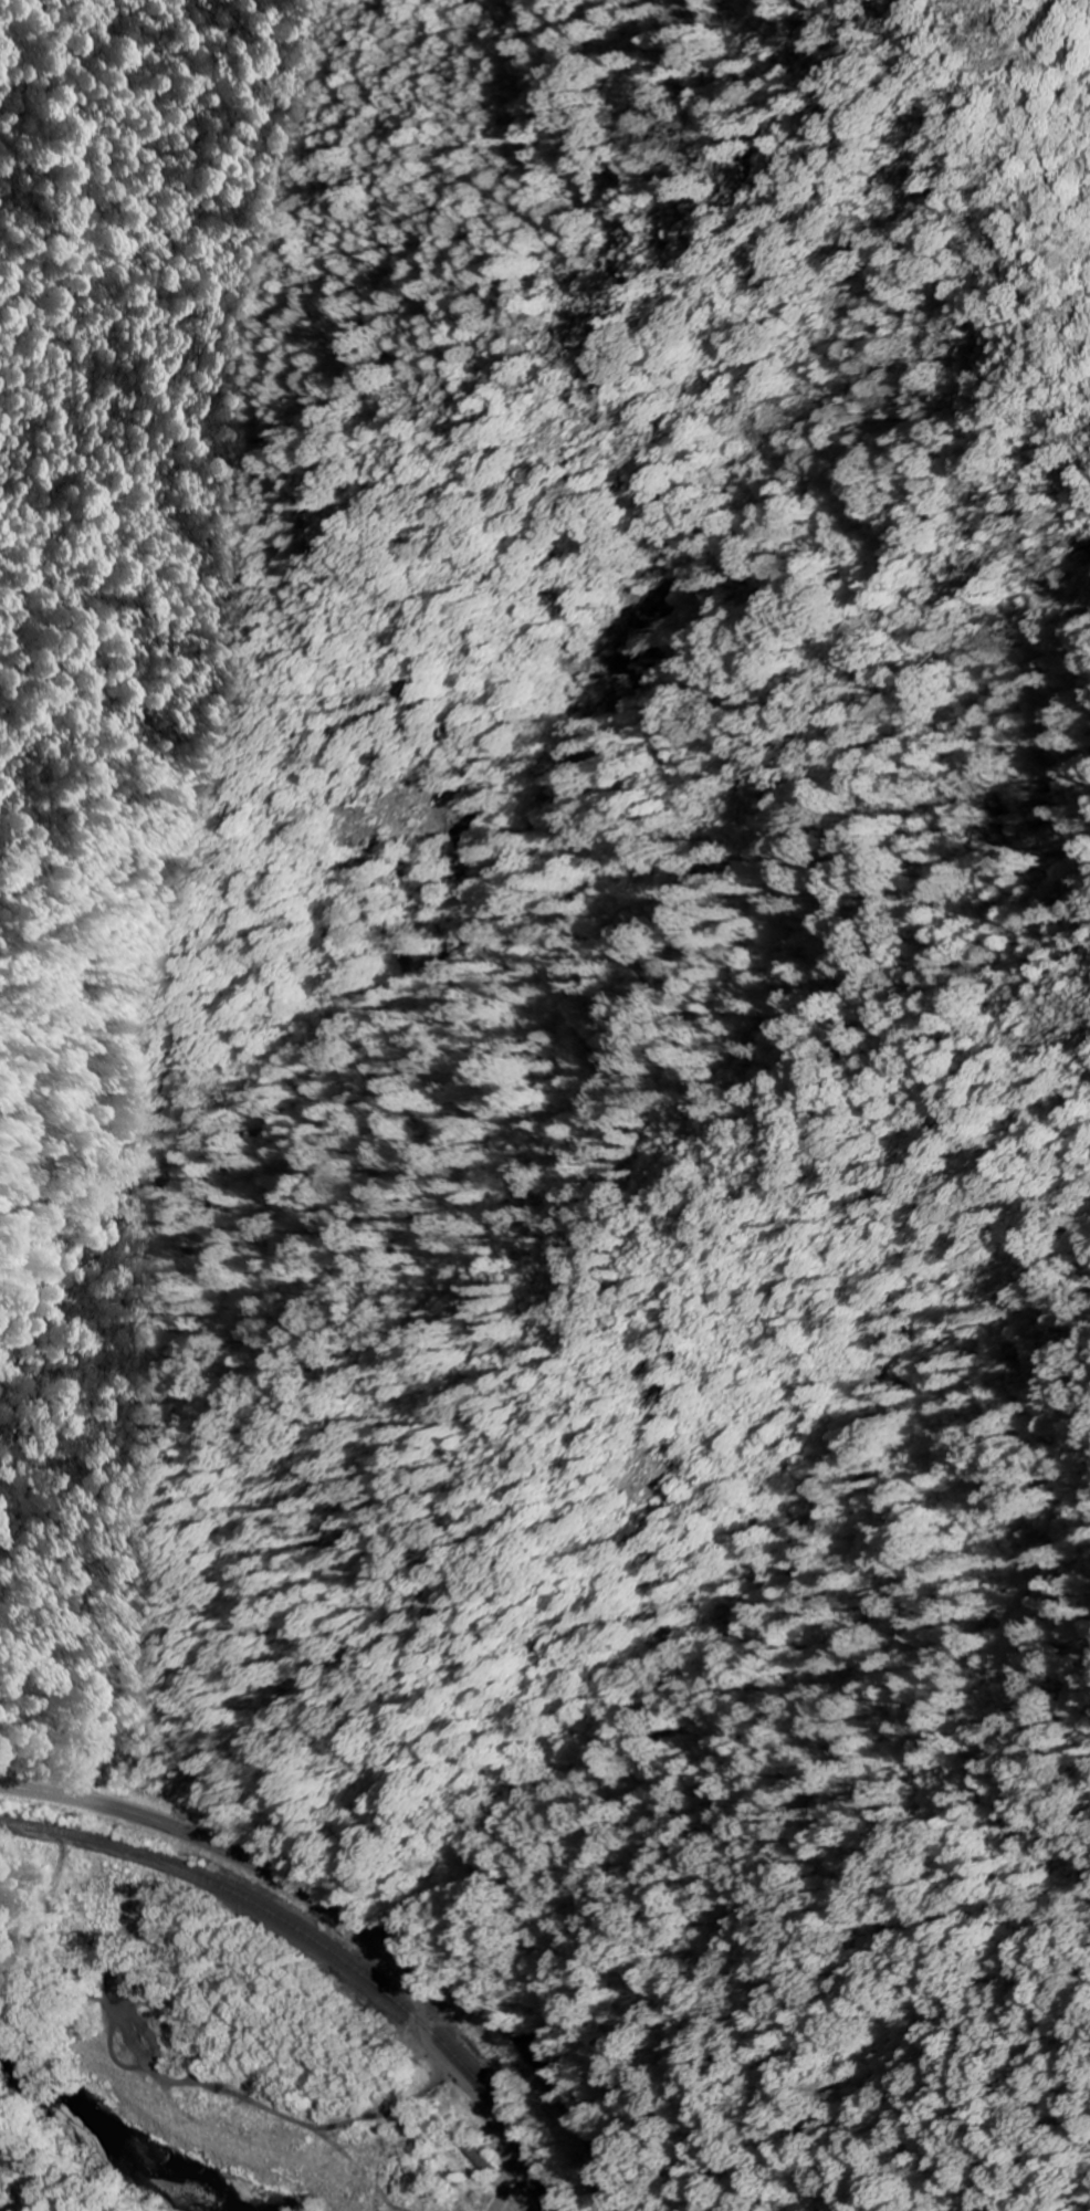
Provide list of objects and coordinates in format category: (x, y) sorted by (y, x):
road: (363, 1925)
railway: (324, 1943)
road: (442, 2071)
river: (118, 2134)
road: (52, 2179)

